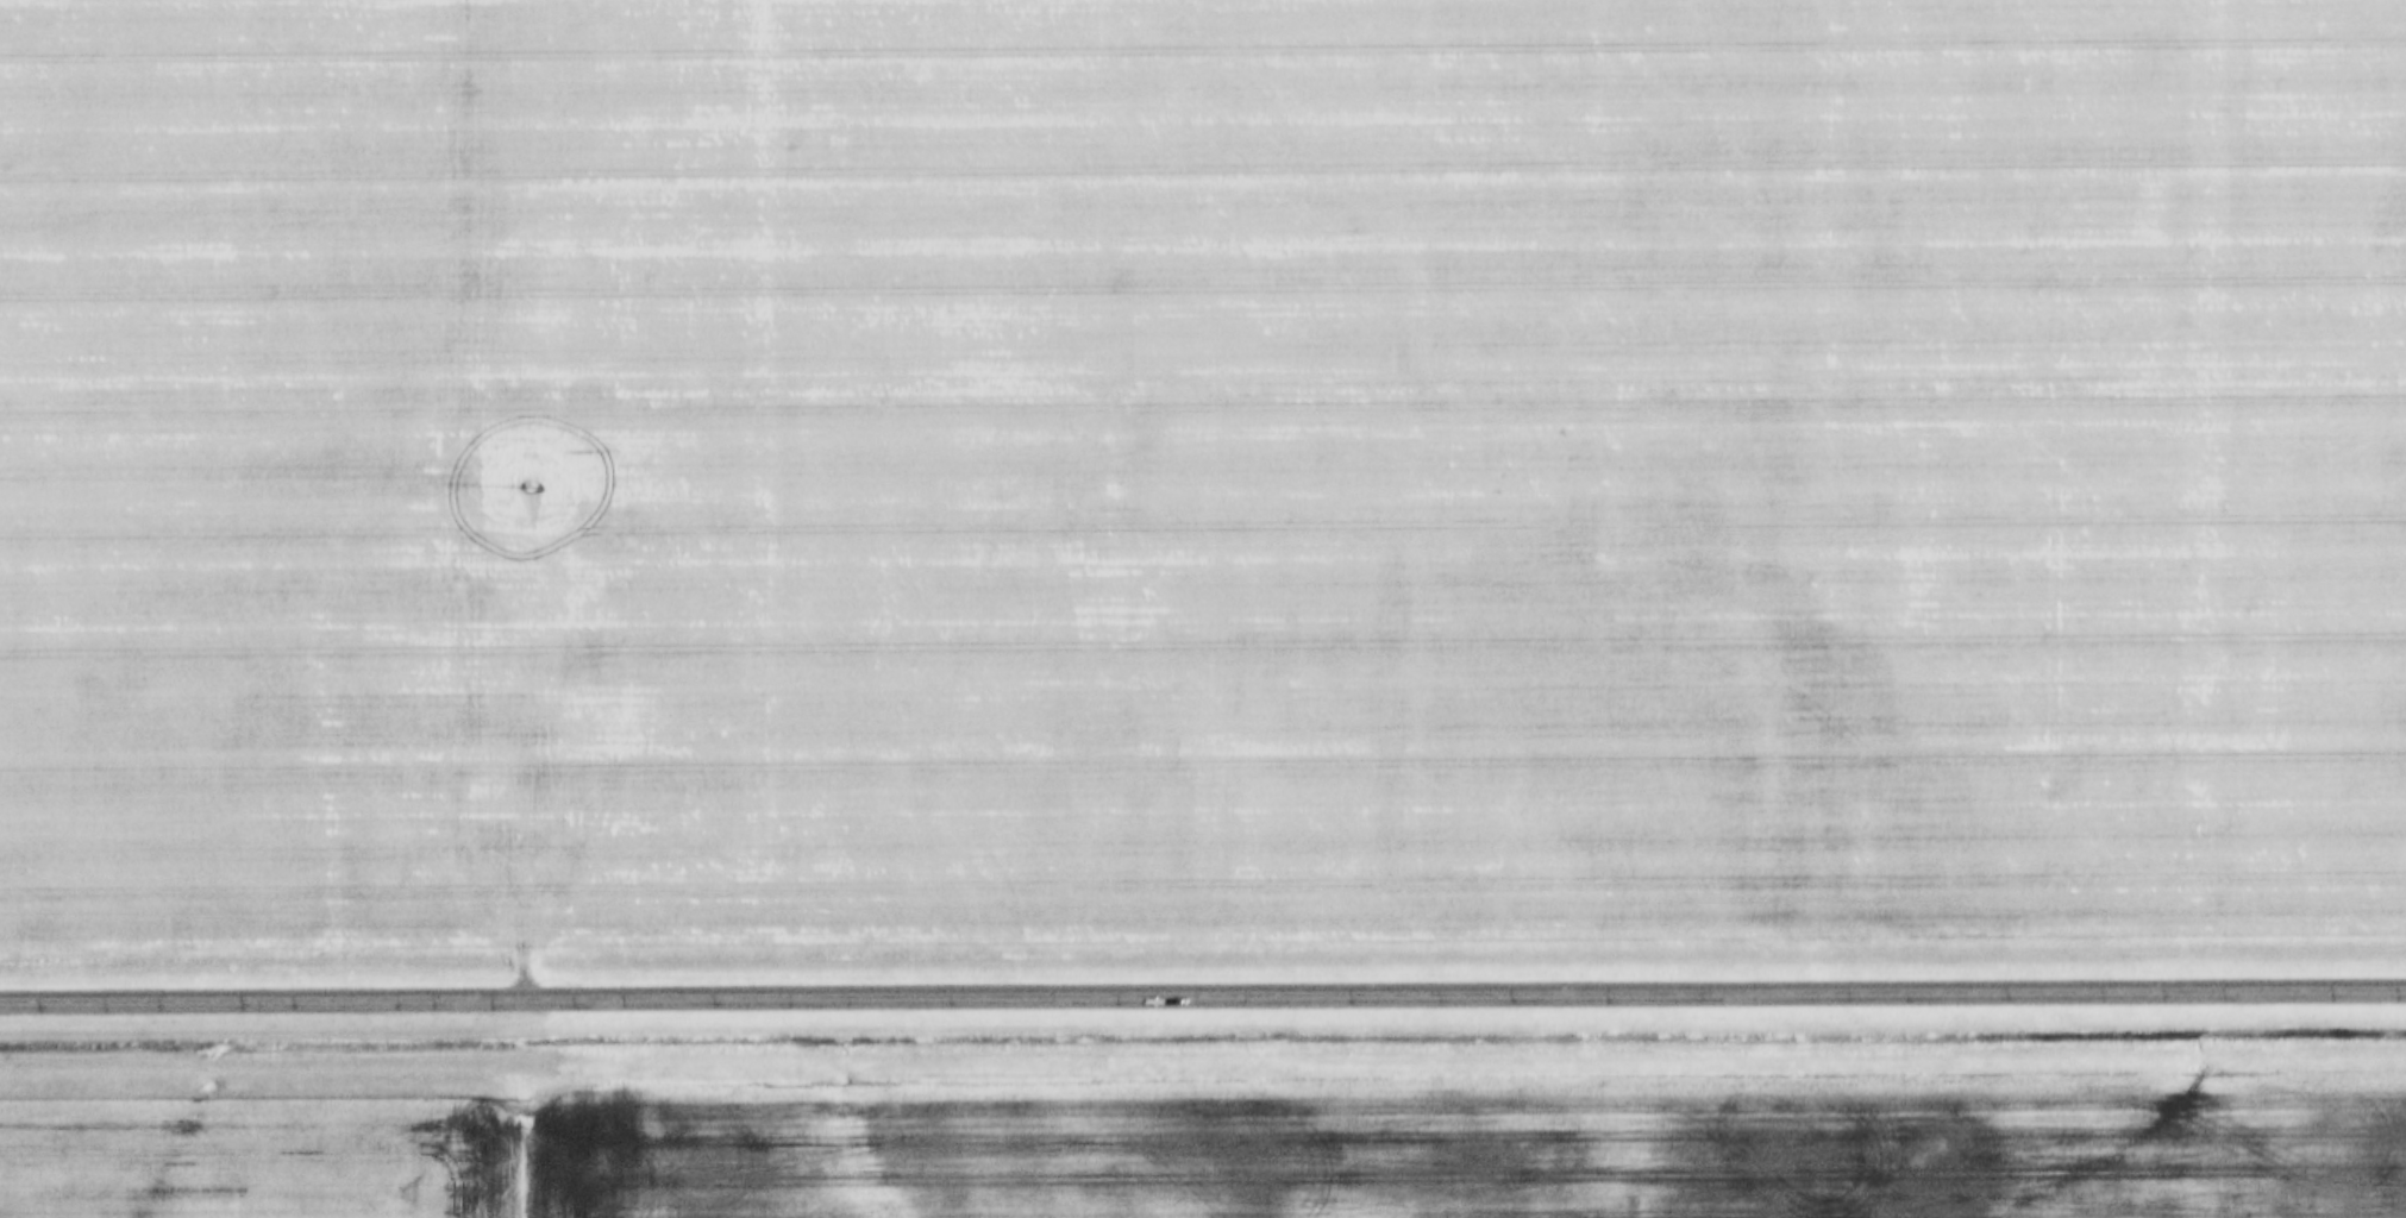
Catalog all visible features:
power tower: (522, 489)
road: (1203, 996)
power tower: (527, 1097)

